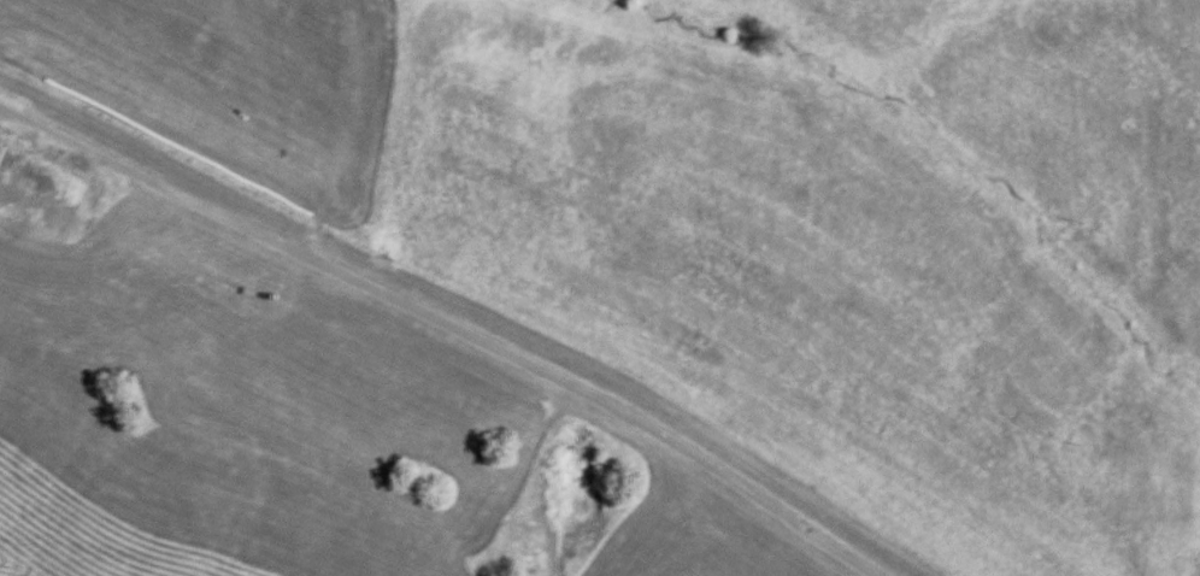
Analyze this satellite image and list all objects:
road: (447, 323)

